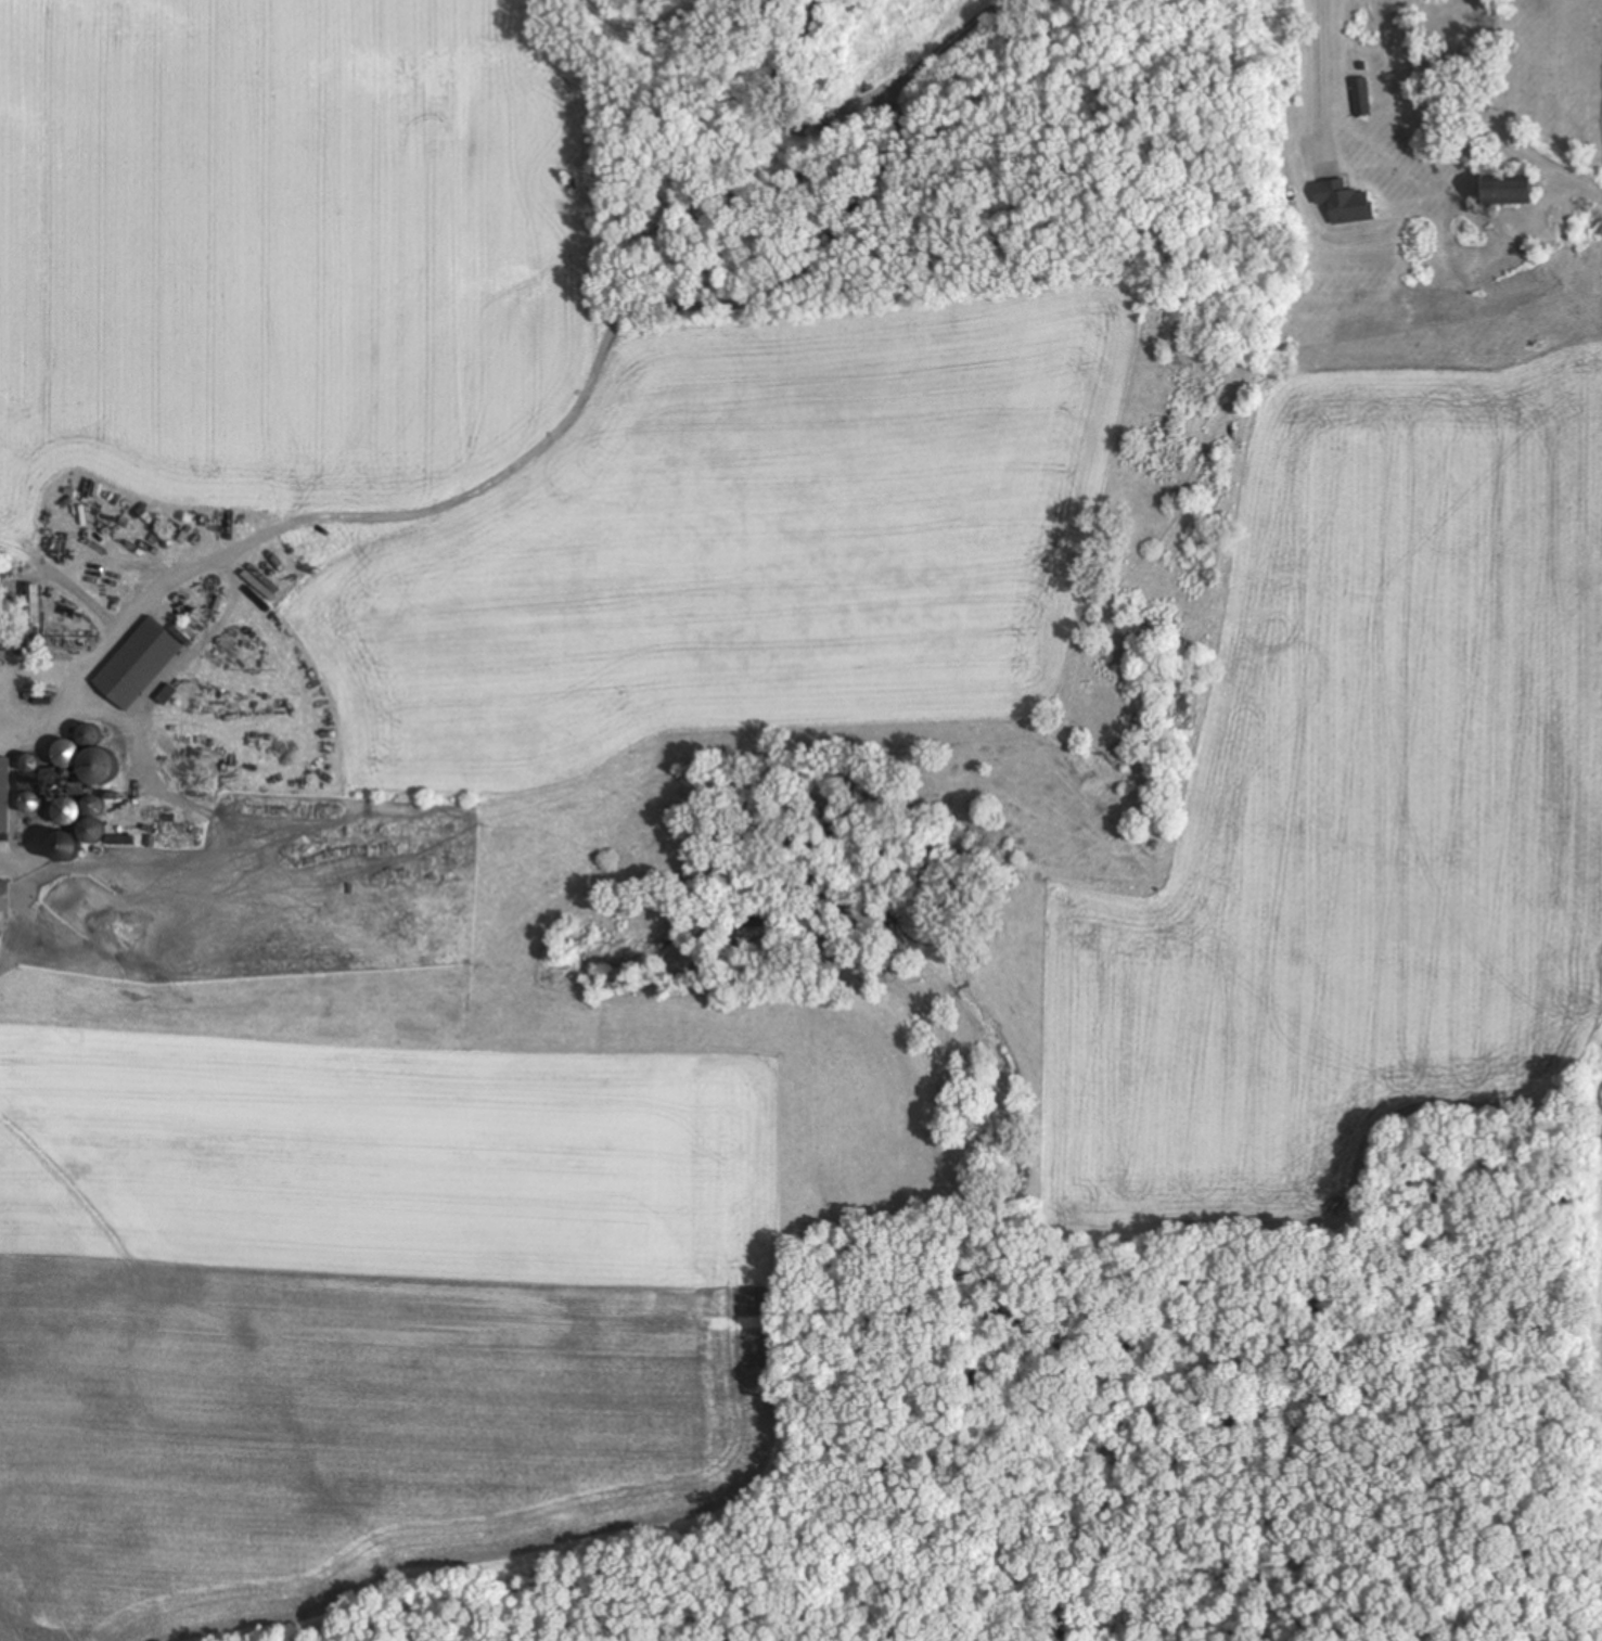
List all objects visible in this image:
building: (1454, 26)
building: (1359, 98)
building: (1503, 190)
building: (33, 606)
building: (136, 665)
building: (59, 754)
building: (3, 796)
building: (62, 812)
building: (91, 829)
building: (59, 848)
building: (3, 898)

